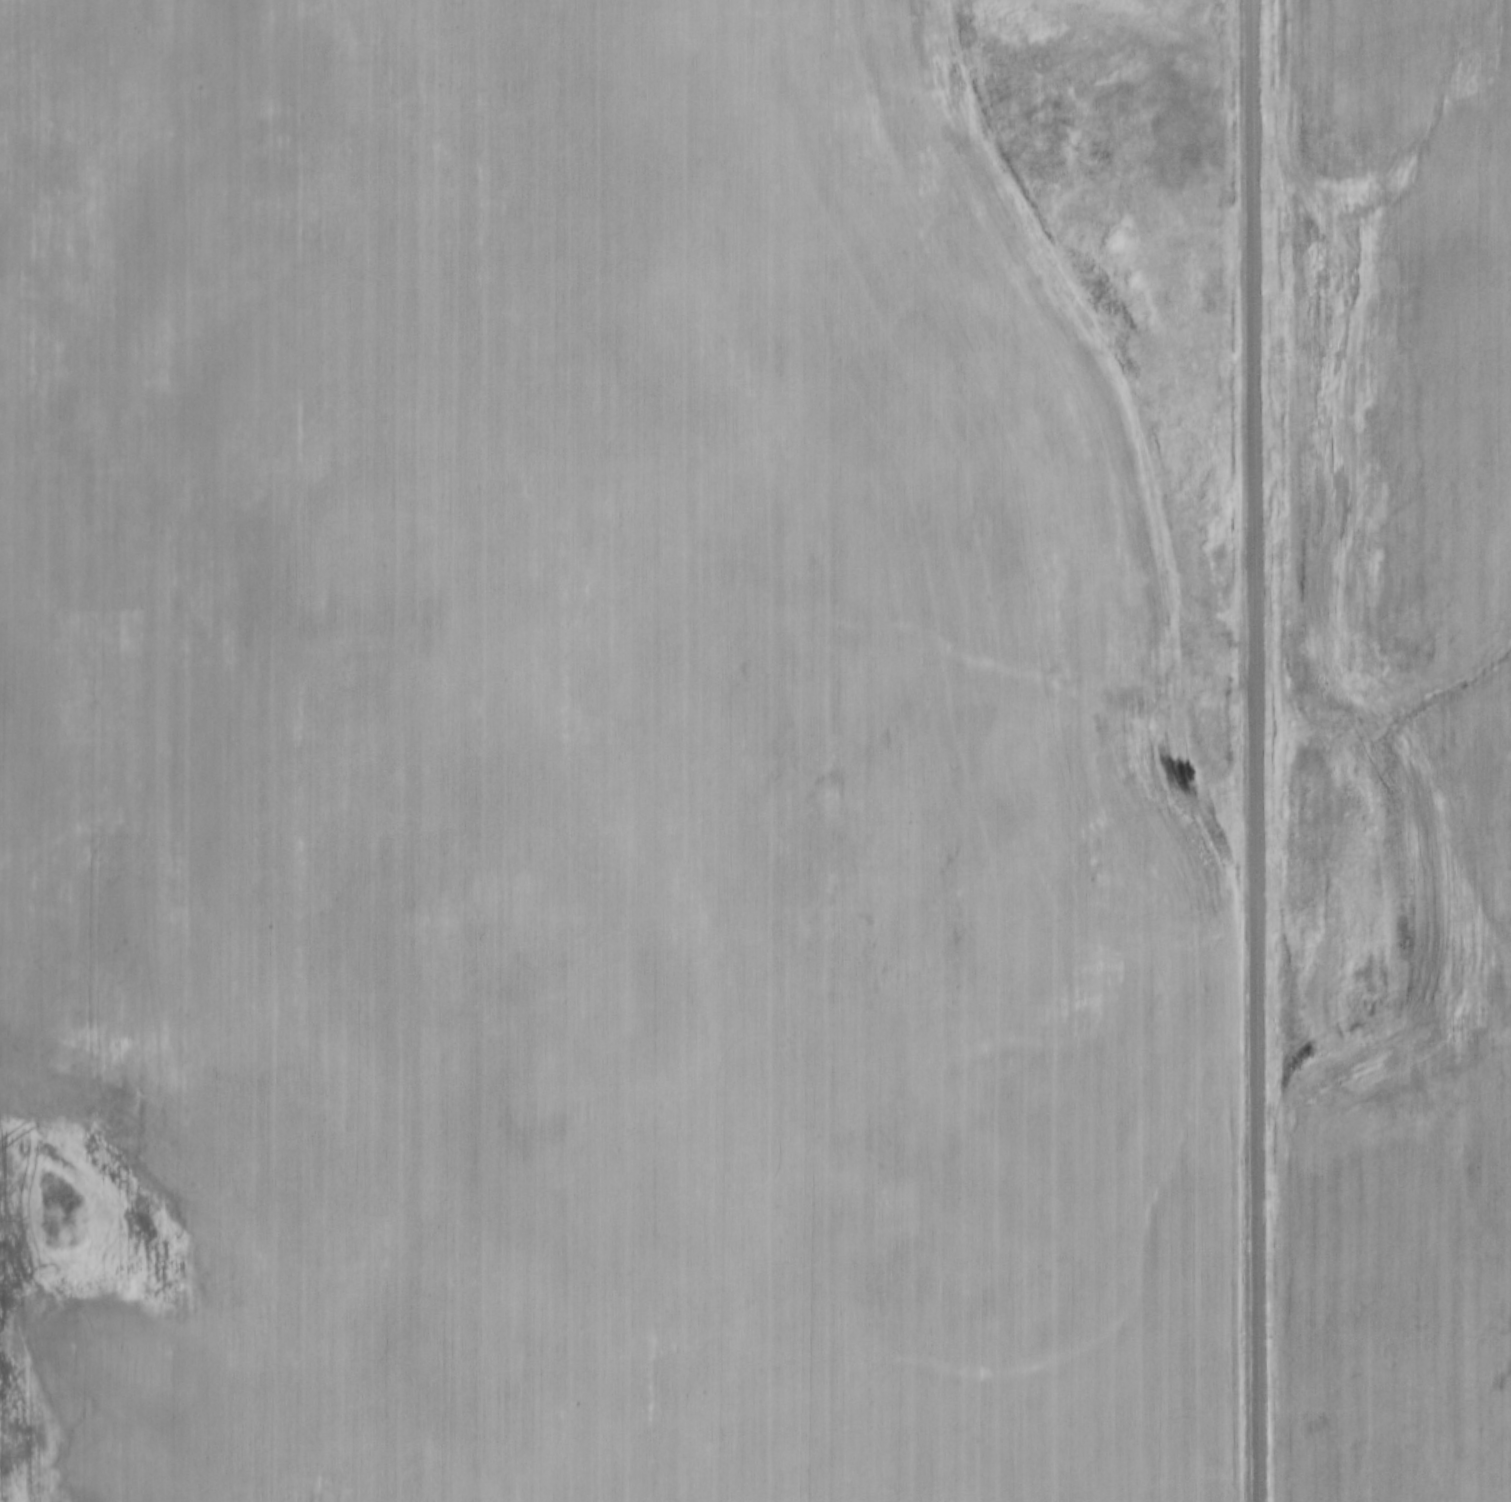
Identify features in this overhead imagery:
road: (1250, 750)

